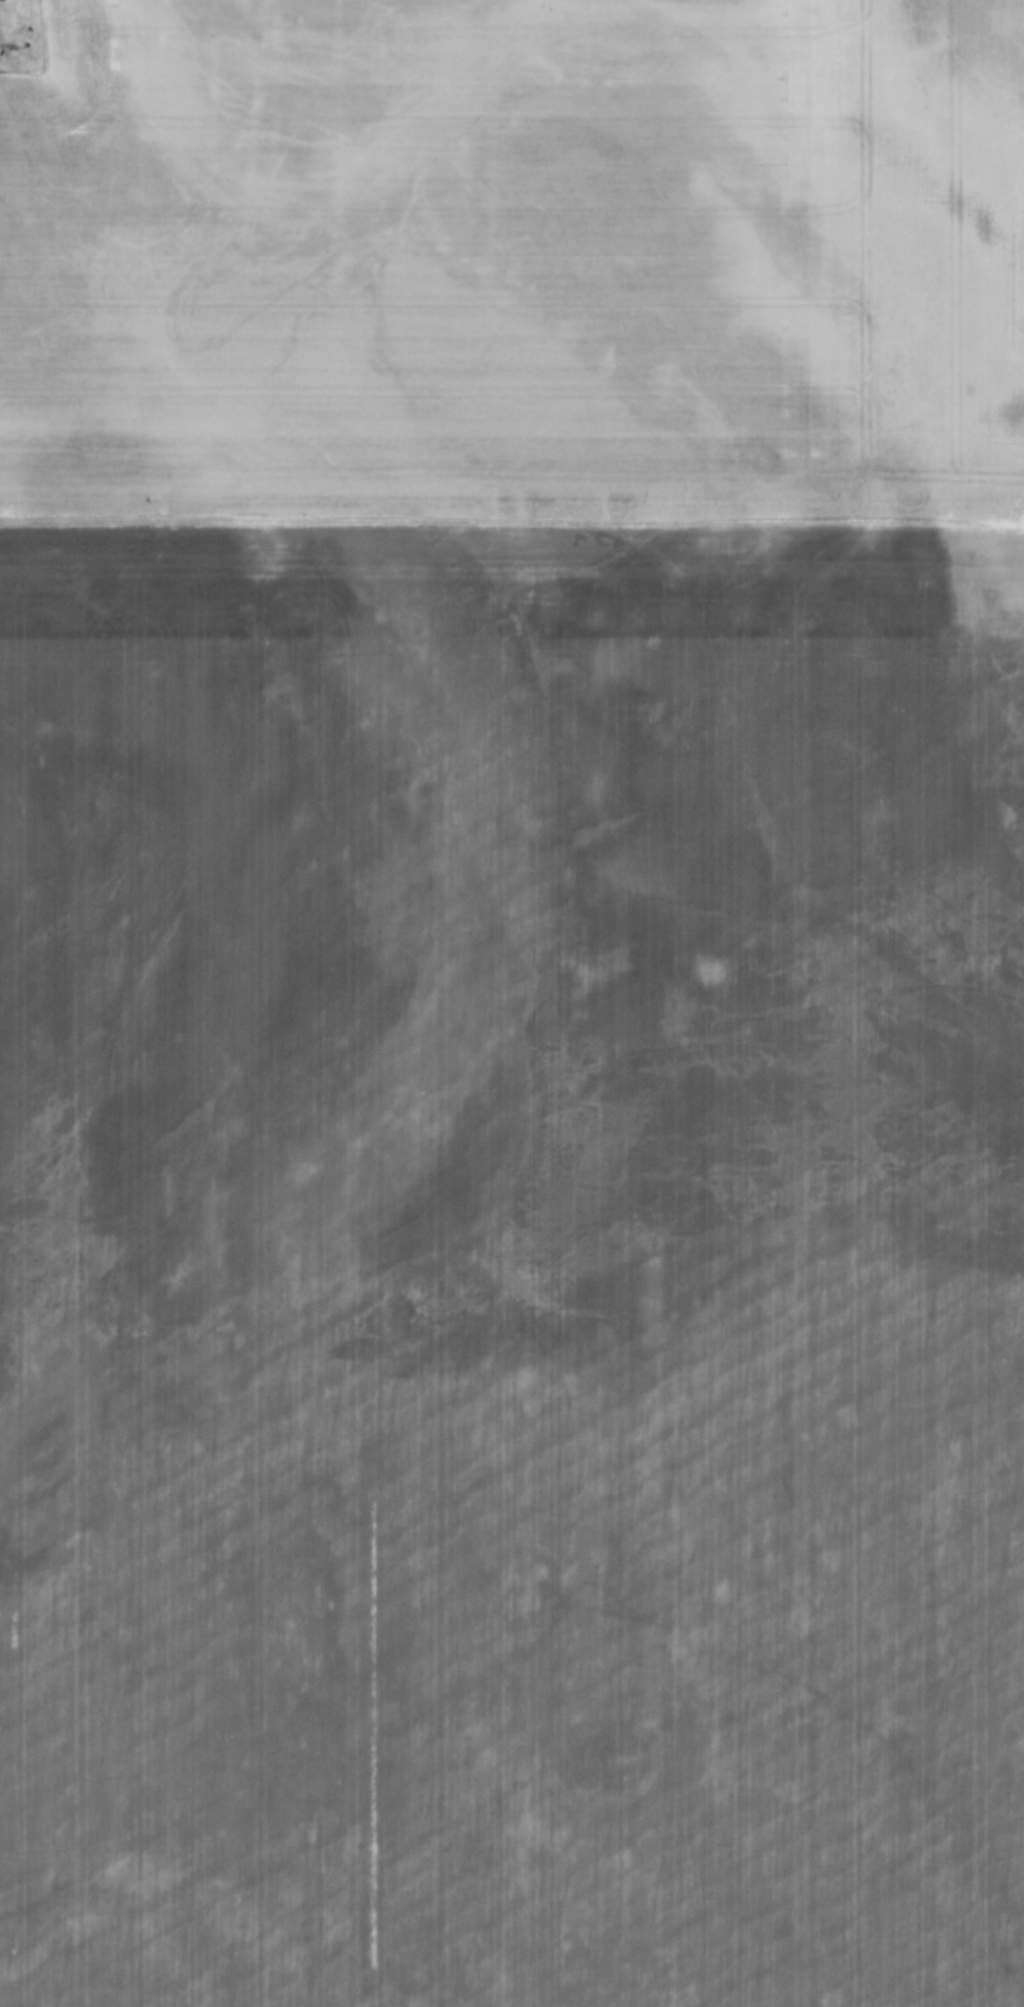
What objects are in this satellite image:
road: (512, 518)

